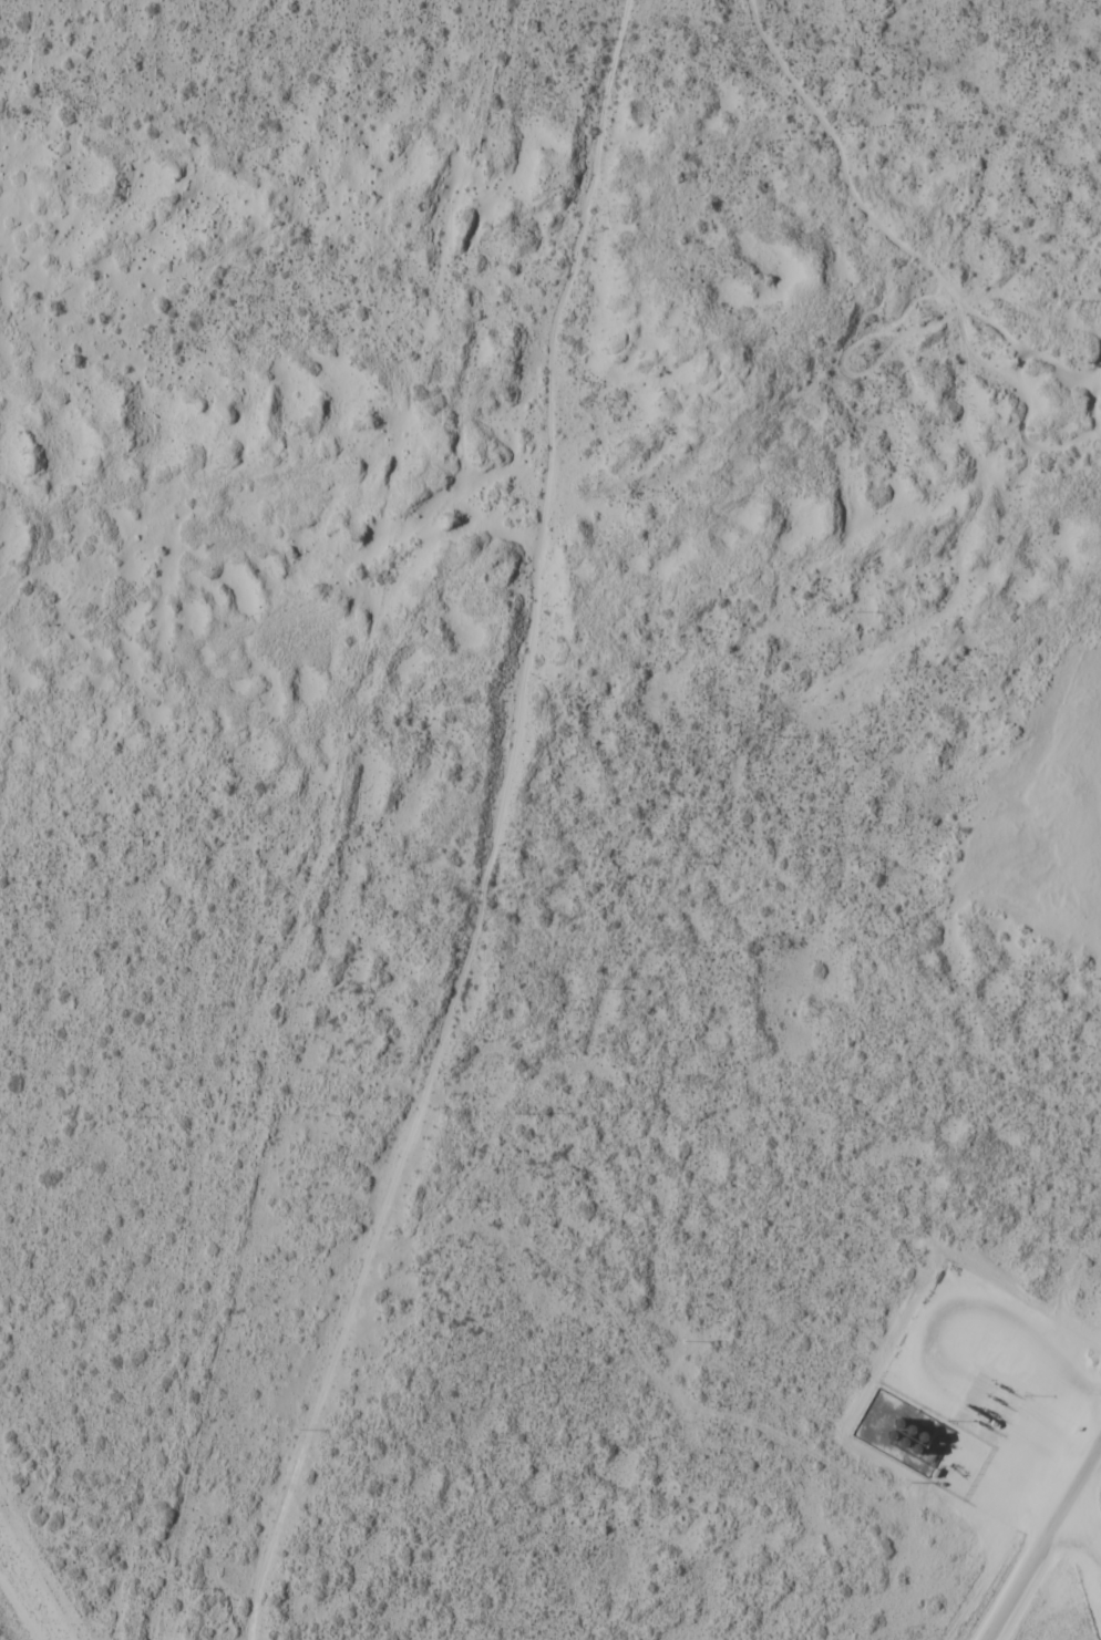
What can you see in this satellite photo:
road: (1097, 1472)
road: (1043, 1540)

